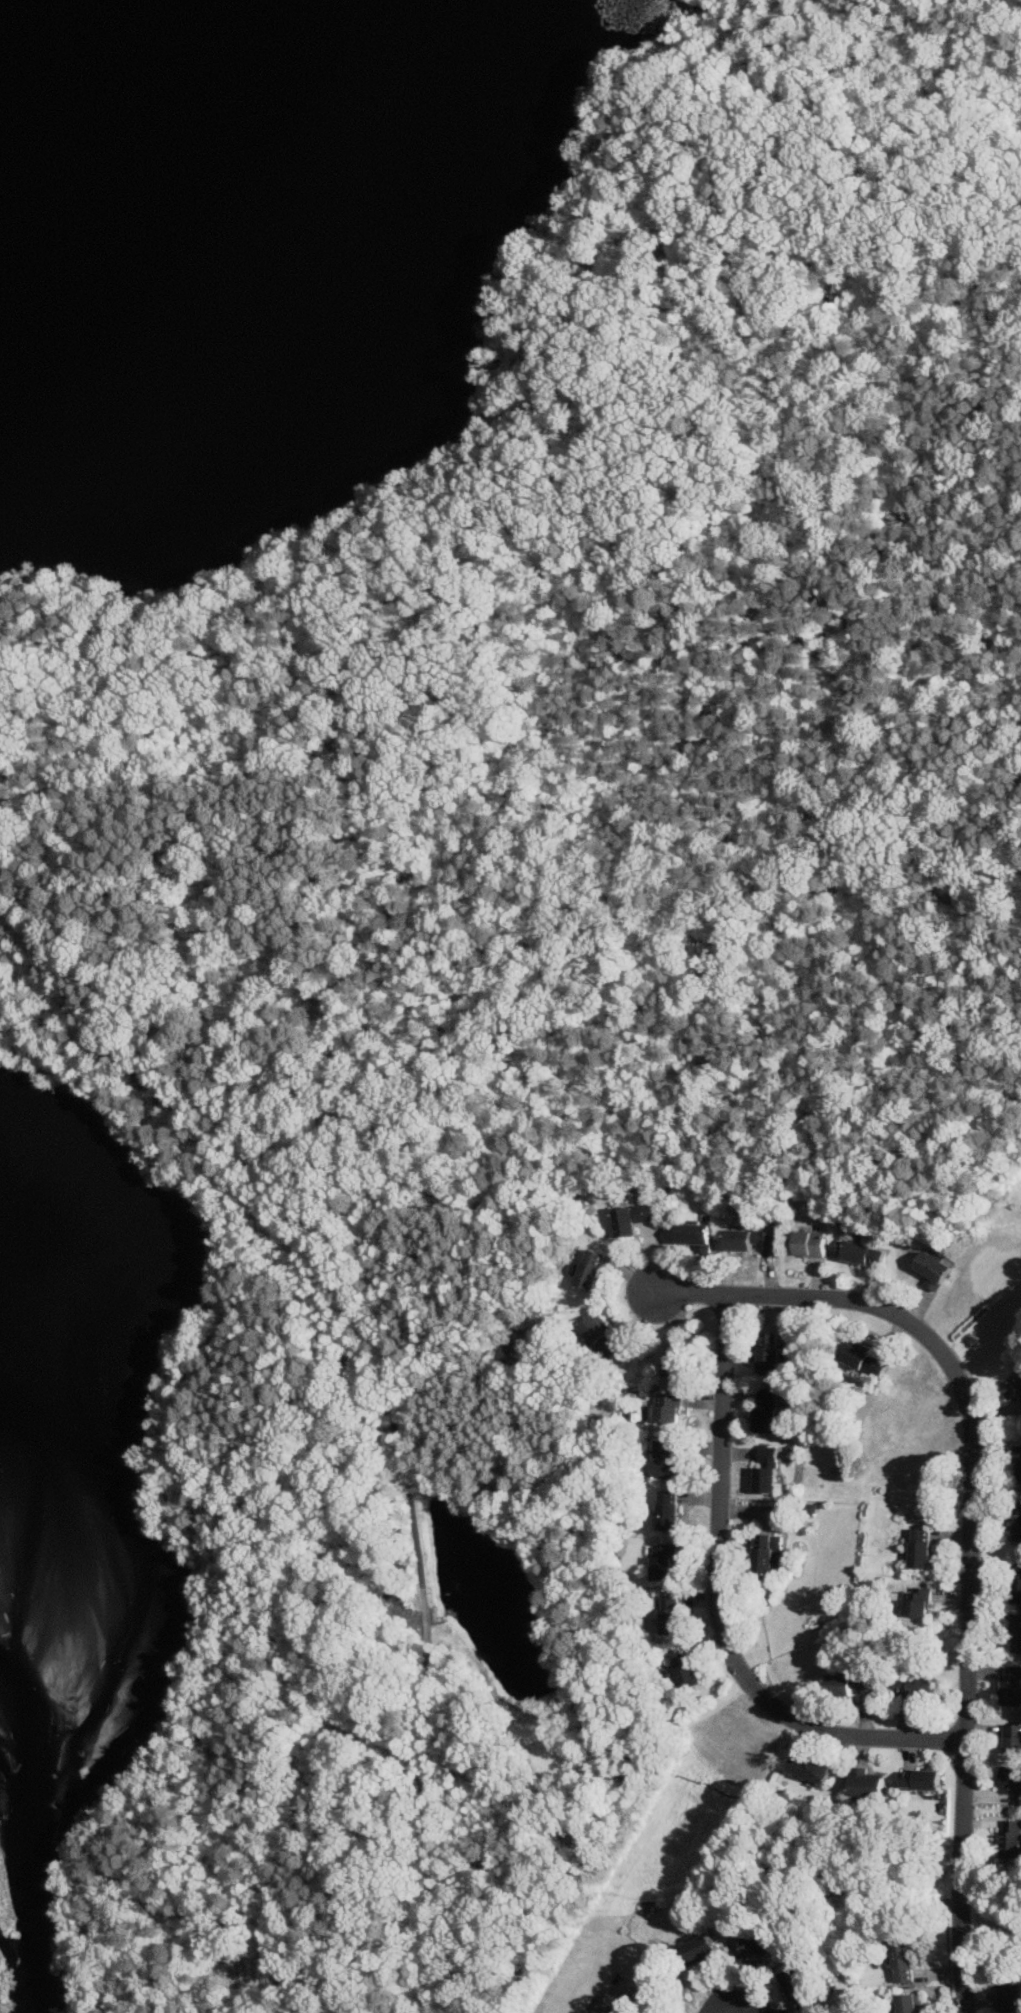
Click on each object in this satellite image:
road: (544, 524)
road: (1007, 648)
park: (583, 713)
road: (1014, 815)
road: (392, 889)
road: (50, 973)
road: (102, 1030)
building: (630, 1220)
building: (694, 1237)
building: (749, 1241)
building: (809, 1245)
building: (864, 1255)
building: (589, 1271)
building: (931, 1271)
building: (599, 1337)
building: (768, 1353)
building: (863, 1360)
building: (675, 1361)
building: (1013, 1387)
building: (667, 1408)
building: (766, 1411)
building: (664, 1461)
building: (1020, 1463)
building: (765, 1469)
road: (405, 1472)
road: (326, 1509)
building: (667, 1511)
road: (968, 1525)
building: (1017, 1526)
building: (919, 1548)
building: (767, 1554)
building: (663, 1562)
building: (1016, 1583)
building: (916, 1603)
road: (716, 1610)
building: (670, 1615)
building: (1015, 1634)
building: (684, 1669)
building: (851, 1685)
building: (915, 1685)
building: (1012, 1685)
building: (1012, 1738)
building: (809, 1768)
building: (921, 1780)
building: (1013, 1781)
building: (865, 1784)
building: (1010, 1839)
river: (37, 1848)
building: (700, 1949)
building: (756, 1950)
building: (904, 1963)
building: (797, 1990)
building: (1009, 1998)
building: (909, 2004)

